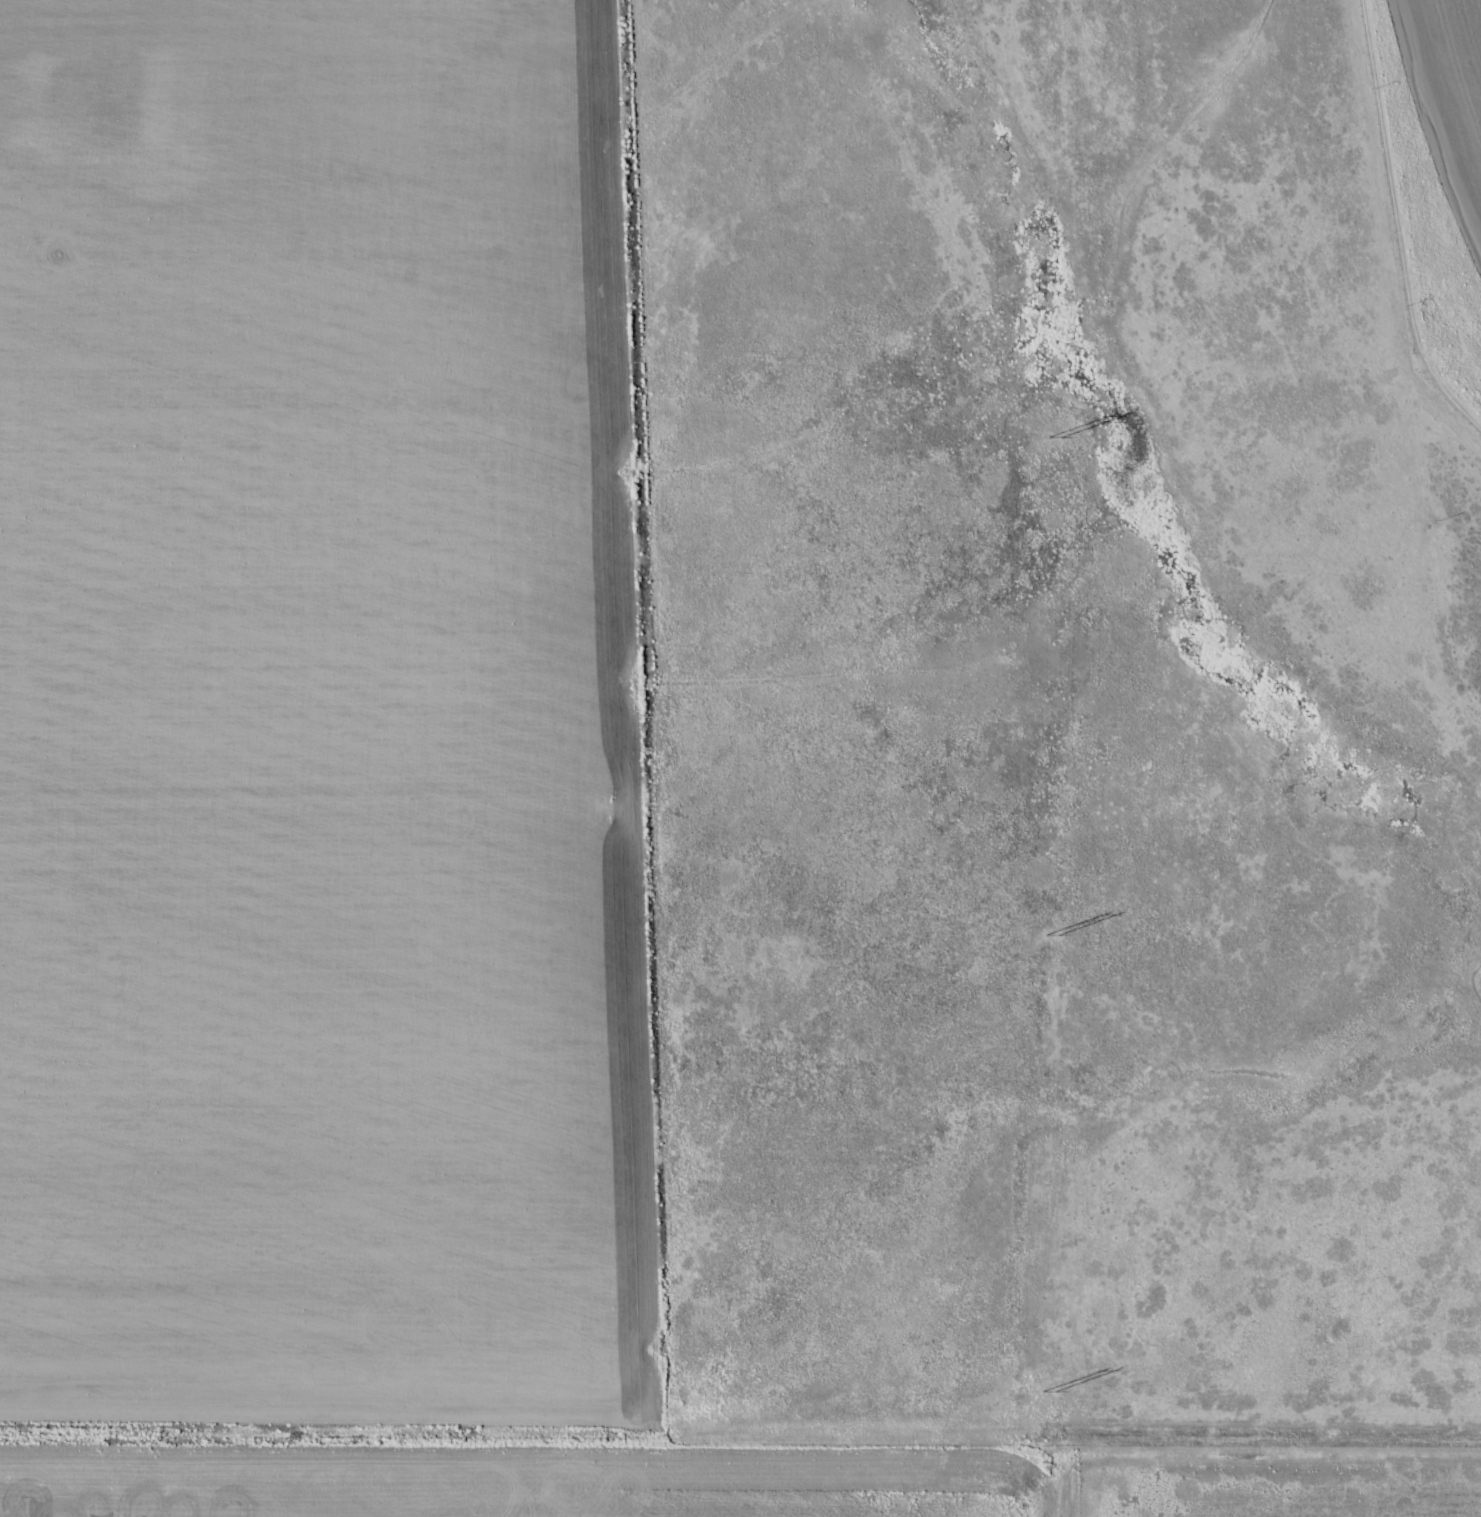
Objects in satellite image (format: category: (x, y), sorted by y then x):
power tower: (1053, 440)
power tower: (1051, 934)
power tower: (1047, 1392)

